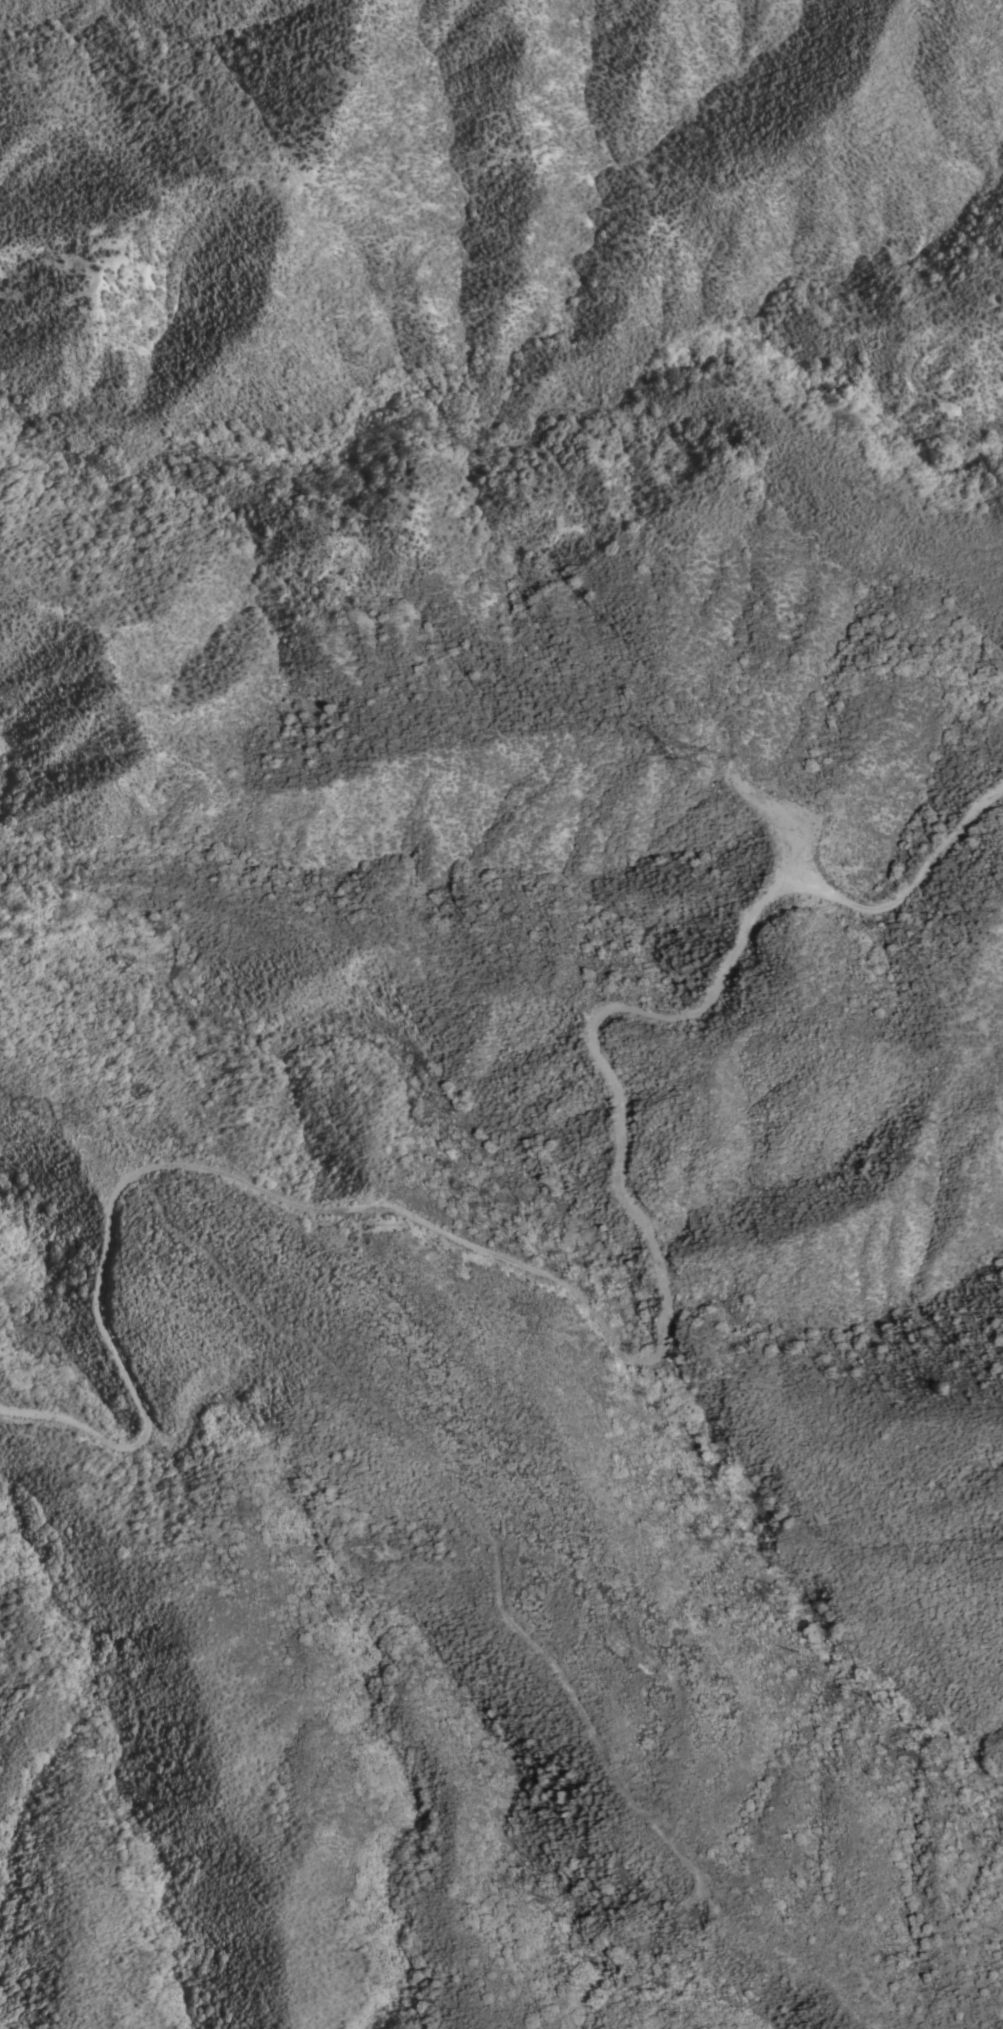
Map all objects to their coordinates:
power tower: (715, 760)
power tower: (52, 1105)
road: (598, 1322)

